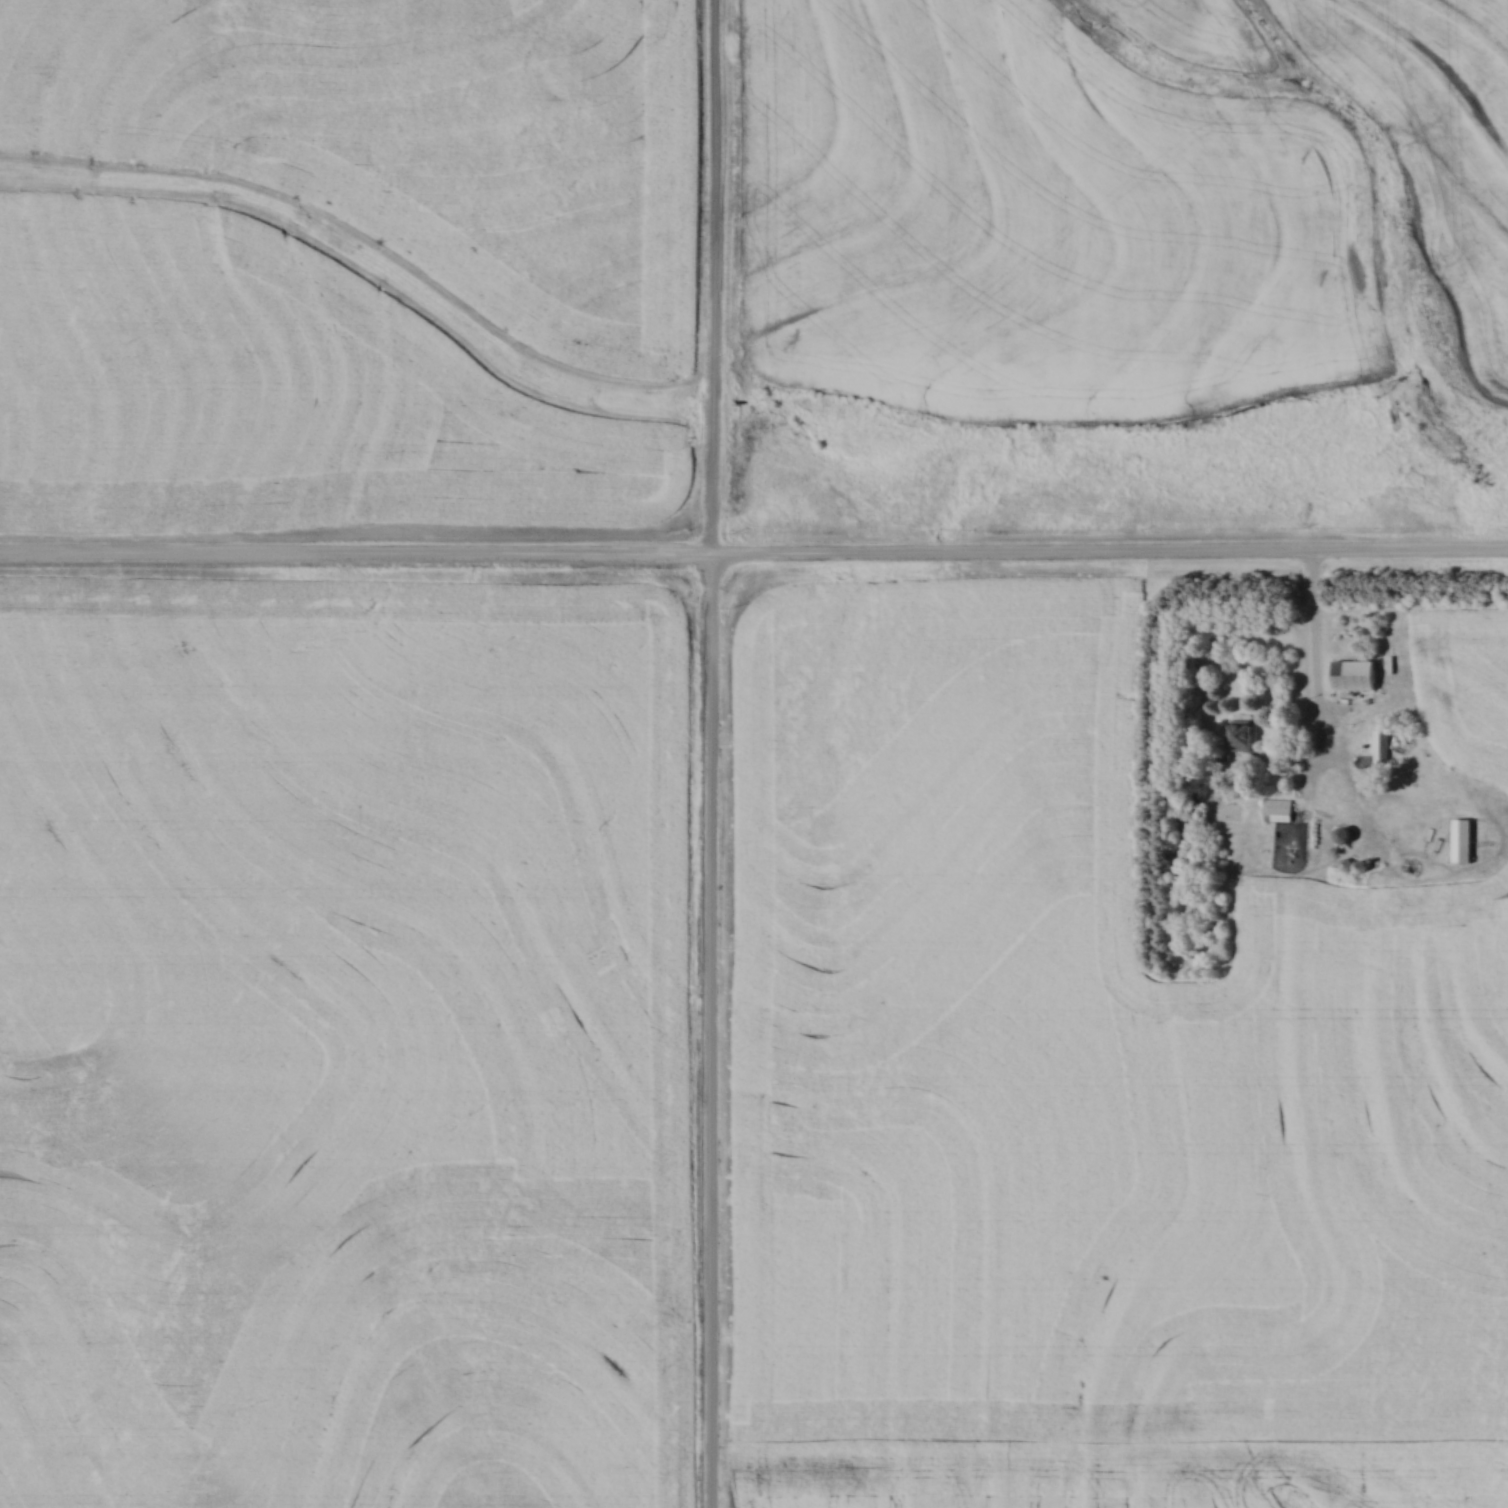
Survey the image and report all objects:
road: (721, 277)
road: (1113, 552)
road: (359, 555)
road: (1322, 656)
building: (1355, 674)
building: (1241, 735)
building: (1382, 752)
building: (1277, 810)
building: (1344, 835)
building: (1462, 841)
road: (717, 1031)

